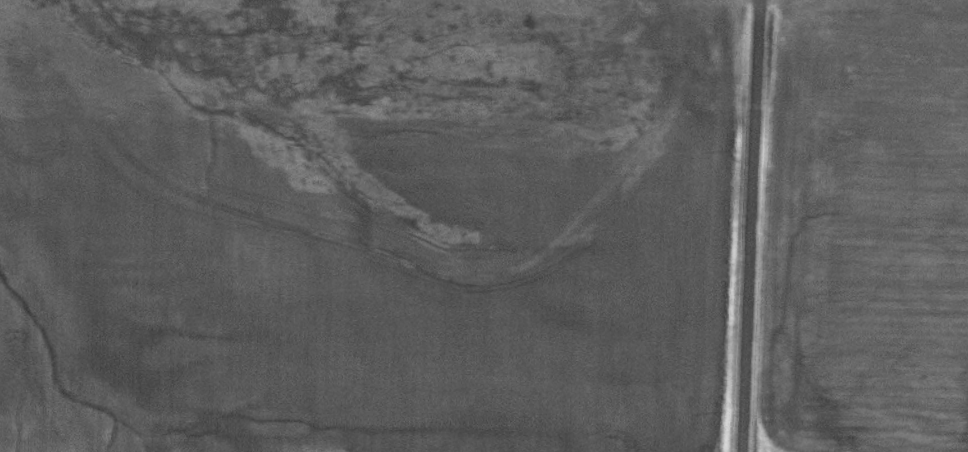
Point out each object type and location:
road: (749, 225)

